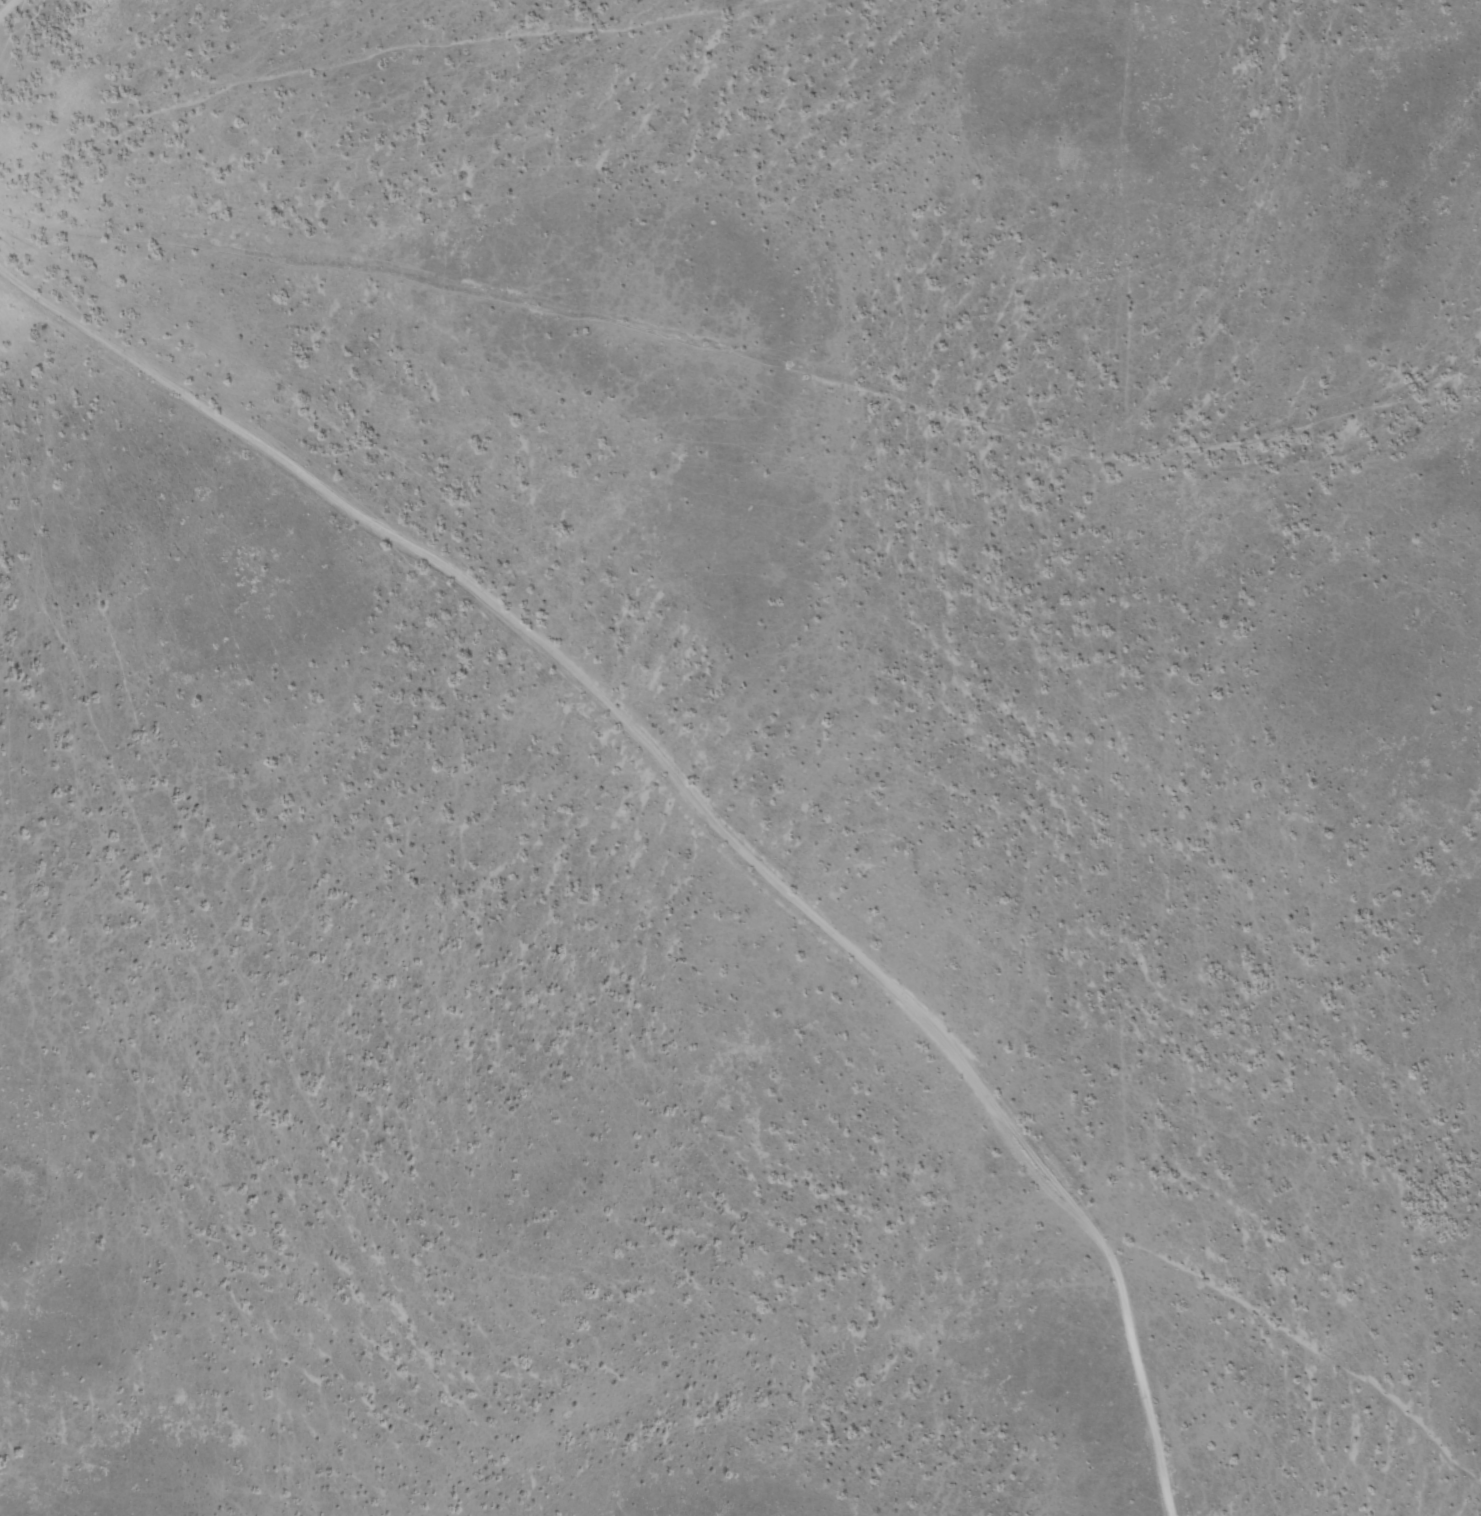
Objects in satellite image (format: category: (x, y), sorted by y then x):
road: (49, 52)
road: (1135, 760)

